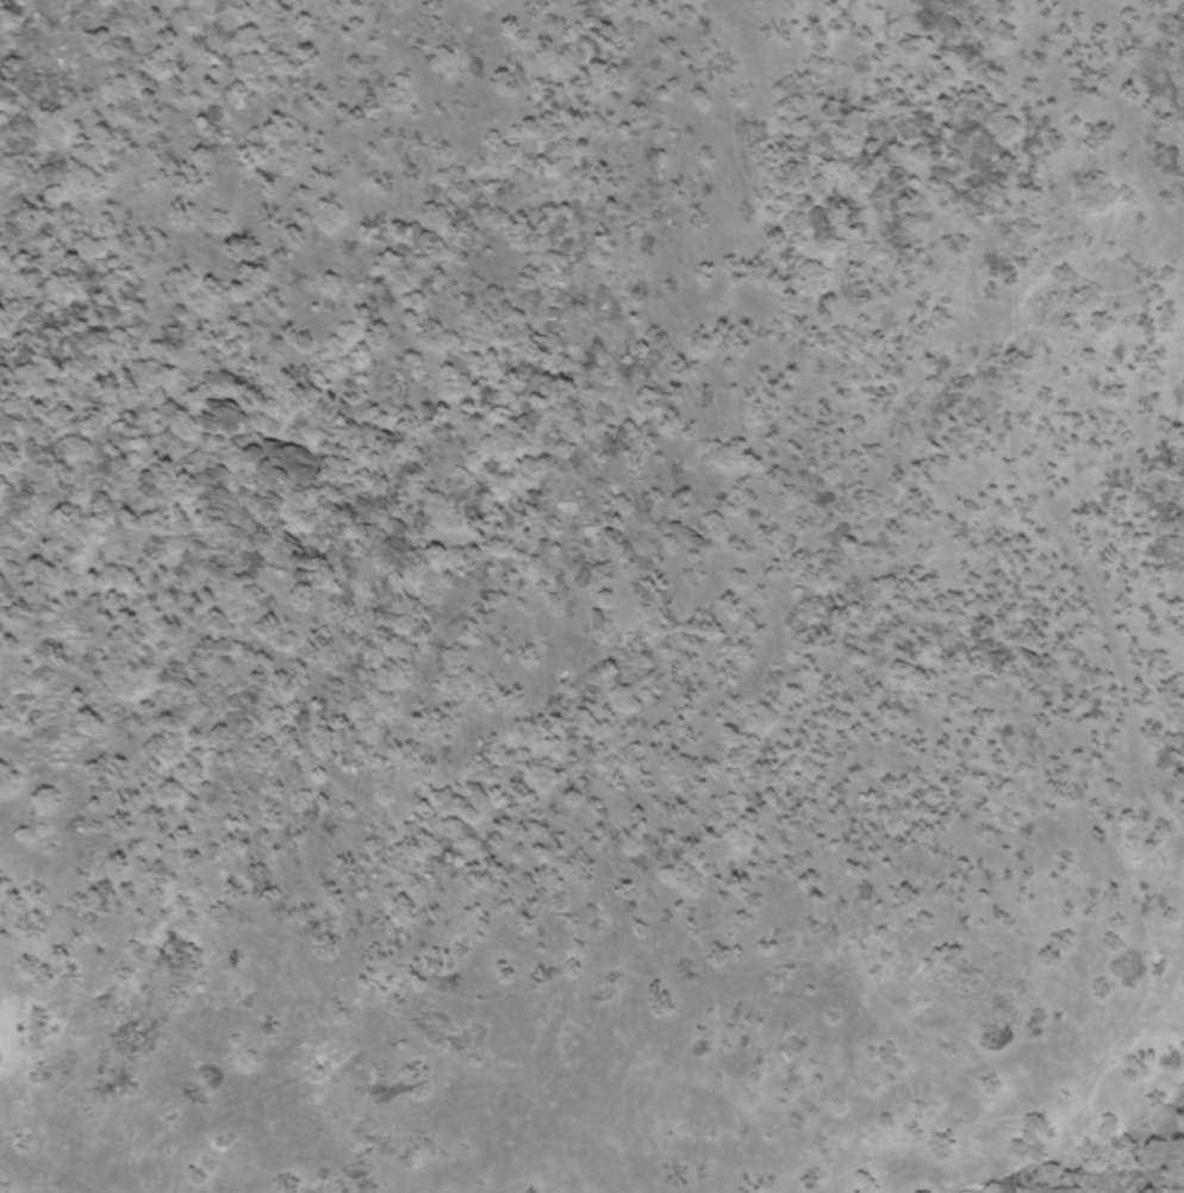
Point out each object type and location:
road: (1034, 1118)

